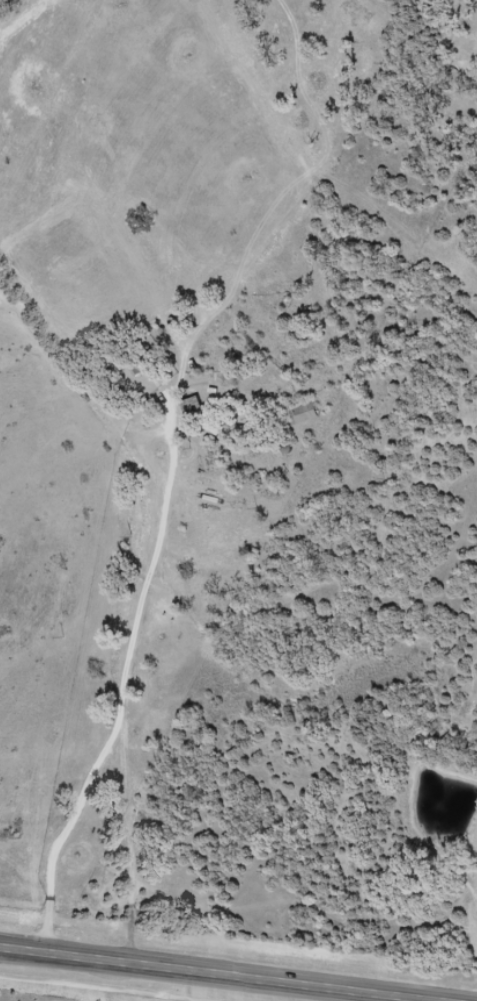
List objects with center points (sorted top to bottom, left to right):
building: (191, 409)
building: (300, 414)
road: (332, 557)
road: (127, 682)
road: (199, 975)

